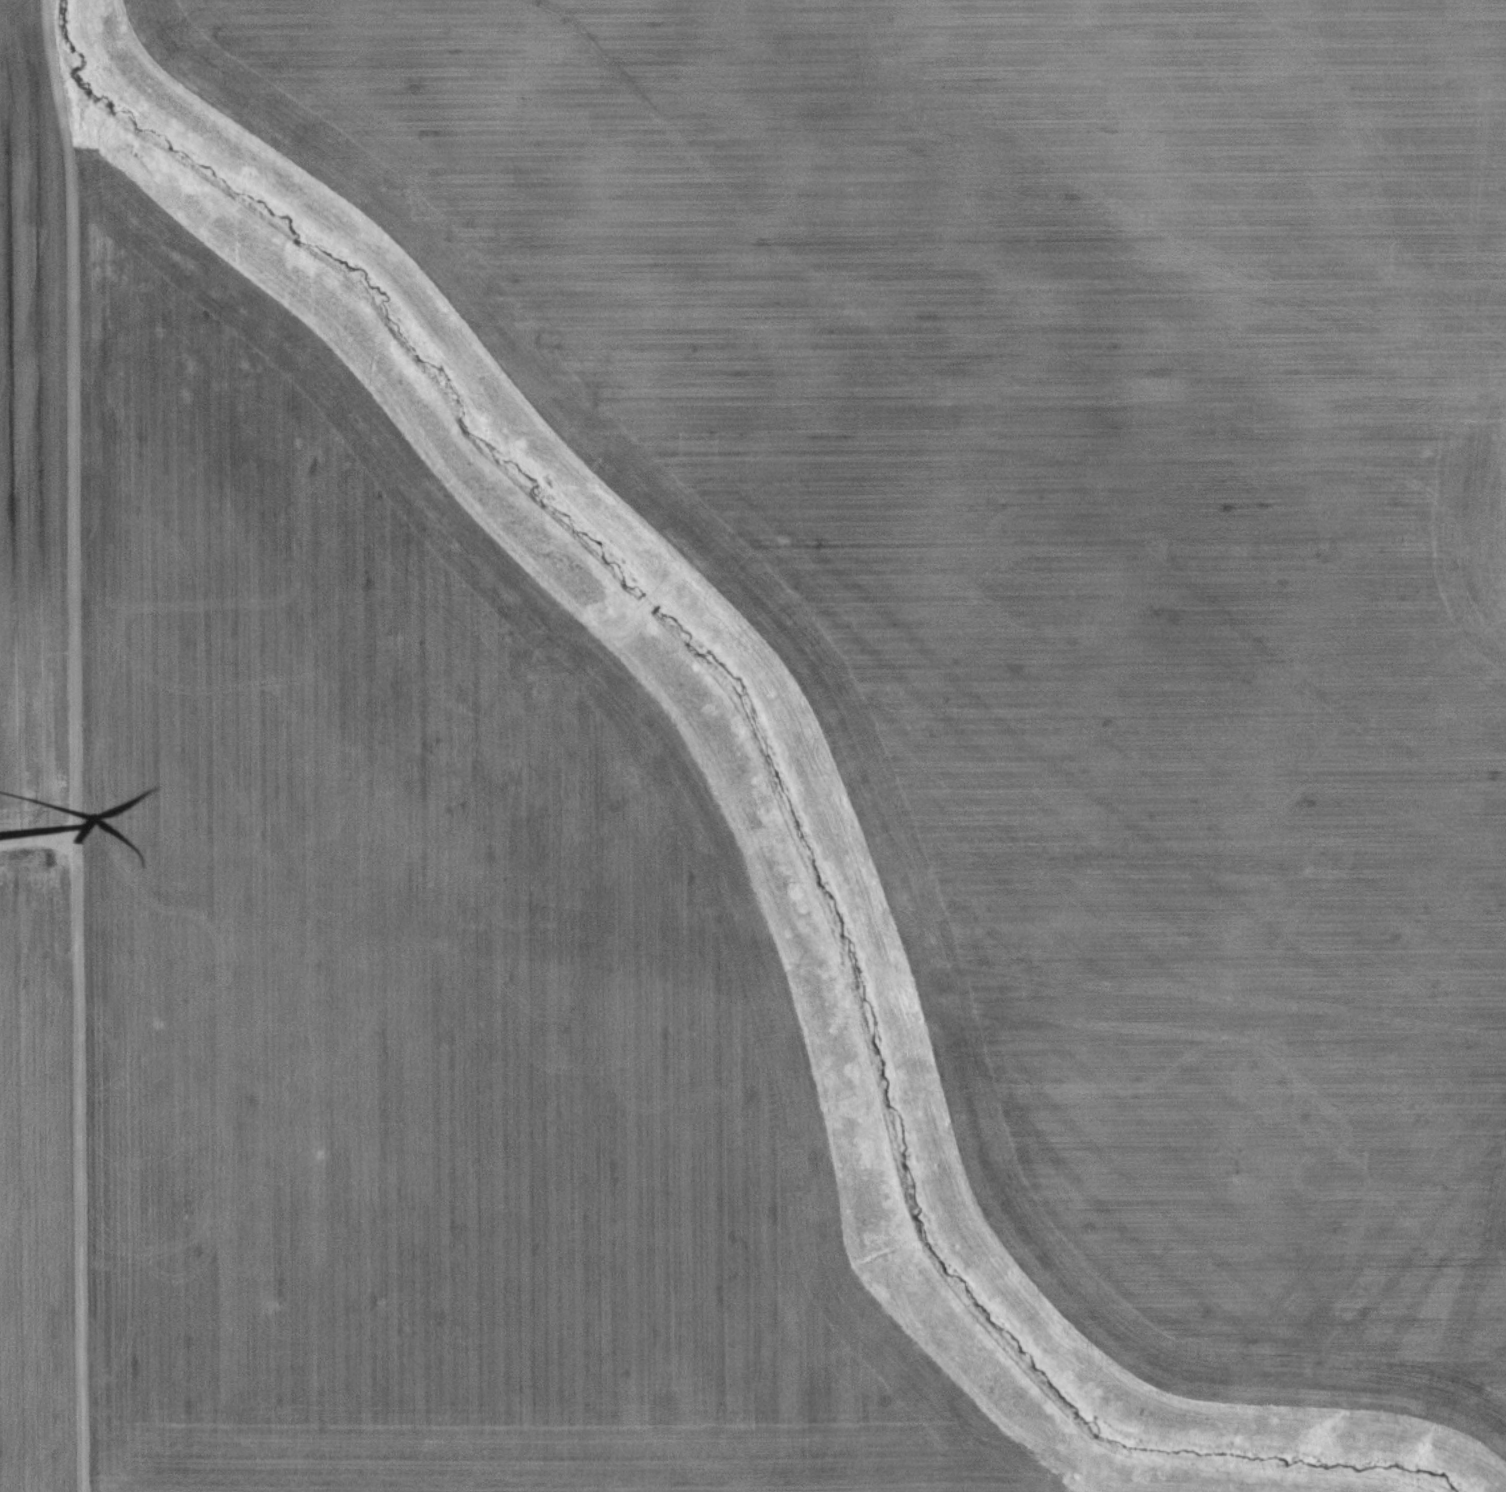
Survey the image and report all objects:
road: (77, 744)

